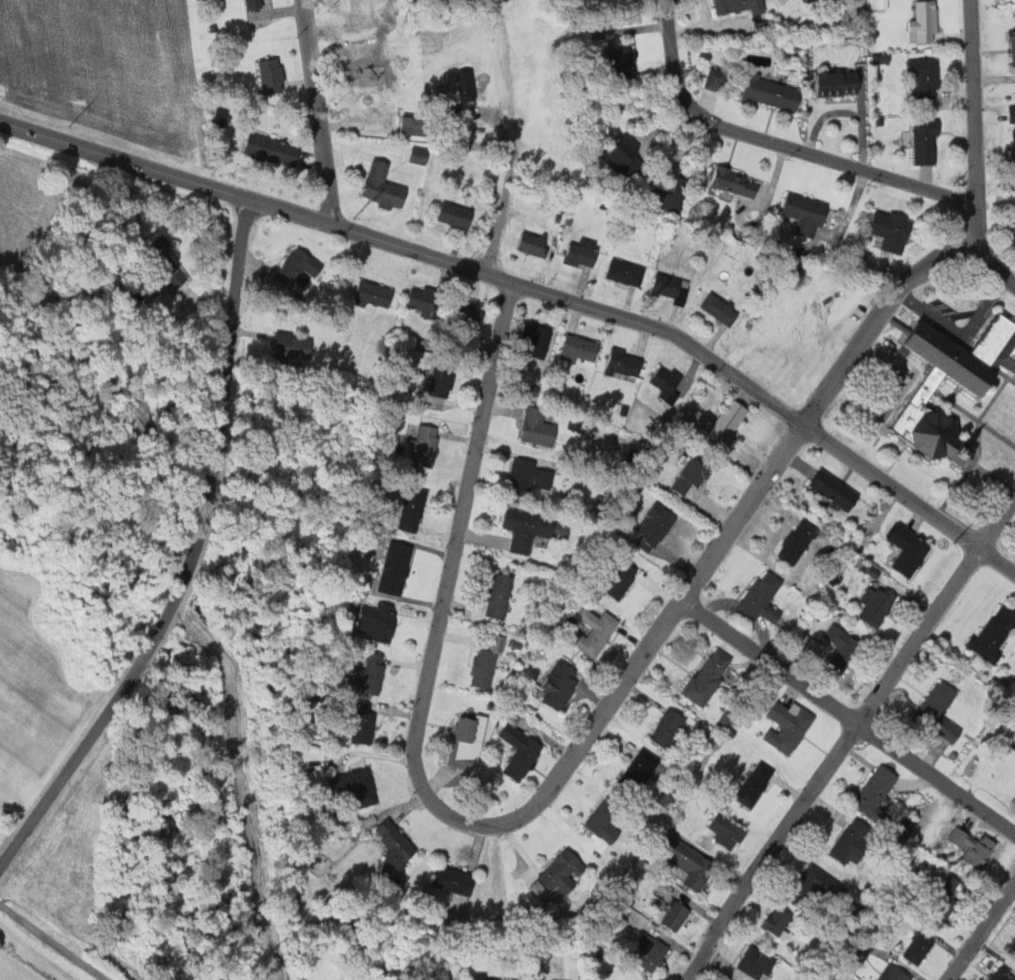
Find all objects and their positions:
building: (256, 4)
building: (877, 4)
building: (735, 6)
building: (919, 21)
building: (1010, 47)
building: (876, 58)
building: (616, 61)
building: (273, 75)
building: (919, 77)
building: (711, 78)
building: (829, 82)
building: (451, 91)
building: (766, 91)
road: (319, 113)
building: (1009, 113)
building: (223, 117)
road: (973, 122)
building: (414, 124)
power tower: (68, 128)
building: (920, 141)
building: (1012, 144)
road: (776, 145)
building: (619, 146)
building: (275, 149)
building: (421, 154)
building: (728, 181)
building: (674, 182)
building: (381, 185)
building: (663, 199)
building: (799, 212)
building: (453, 213)
power tower: (352, 219)
building: (884, 229)
building: (532, 243)
building: (163, 244)
building: (580, 252)
building: (299, 268)
road: (991, 269)
building: (624, 271)
building: (176, 273)
building: (664, 284)
building: (371, 292)
road: (535, 292)
building: (421, 302)
building: (718, 308)
power tower: (642, 311)
building: (463, 314)
building: (535, 338)
building: (295, 345)
building: (577, 347)
building: (924, 349)
building: (621, 362)
building: (441, 376)
building: (664, 379)
building: (926, 379)
building: (527, 388)
building: (727, 422)
building: (532, 428)
building: (423, 445)
building: (688, 474)
building: (524, 477)
building: (833, 488)
road: (464, 496)
building: (411, 508)
building: (653, 526)
building: (520, 528)
road: (731, 530)
building: (797, 541)
power tower: (957, 542)
building: (907, 549)
road: (191, 558)
building: (394, 567)
building: (613, 578)
building: (492, 594)
building: (759, 598)
building: (875, 604)
building: (376, 620)
building: (591, 631)
building: (992, 634)
building: (840, 647)
building: (479, 667)
building: (367, 673)
building: (706, 677)
building: (554, 686)
building: (938, 711)
road: (848, 717)
building: (360, 722)
building: (787, 725)
building: (666, 727)
building: (465, 736)
road: (846, 736)
building: (515, 751)
building: (635, 770)
building: (754, 784)
building: (355, 786)
building: (875, 794)
building: (598, 827)
building: (726, 830)
building: (852, 841)
building: (972, 847)
building: (389, 852)
building: (686, 862)
building: (557, 871)
building: (451, 879)
building: (804, 889)
building: (941, 899)
building: (674, 915)
building: (776, 920)
road: (981, 931)
road: (53, 943)
building: (918, 946)
building: (647, 953)
building: (854, 953)
building: (755, 962)
building: (893, 973)
building: (1002, 973)
building: (484, 976)

